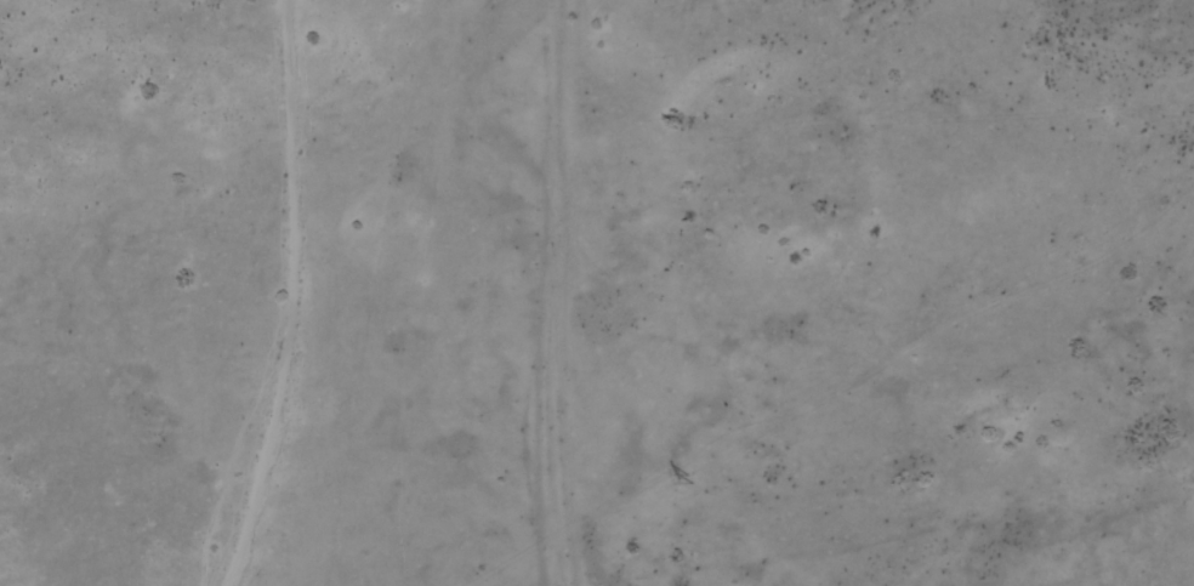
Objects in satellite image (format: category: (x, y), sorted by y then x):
road: (616, 292)

